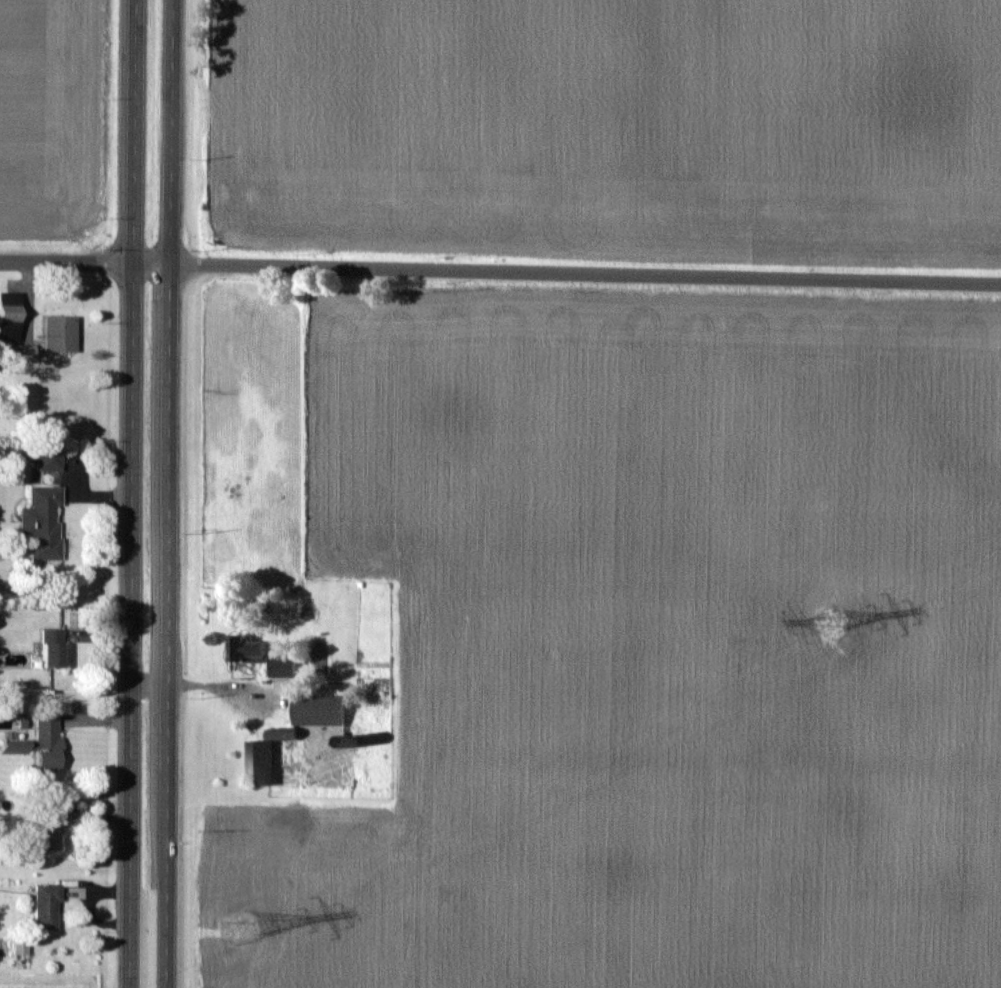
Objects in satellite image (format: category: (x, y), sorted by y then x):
crop: (609, 128)
road: (135, 131)
road: (170, 132)
road: (84, 263)
road: (585, 273)
building: (9, 316)
building: (59, 333)
building: (23, 352)
building: (49, 458)
building: (43, 521)
power tower: (828, 621)
road: (131, 625)
road: (167, 626)
building: (51, 647)
crop: (648, 649)
building: (262, 656)
building: (318, 710)
building: (39, 743)
building: (260, 762)
building: (45, 832)
building: (45, 906)
power tower: (238, 924)

